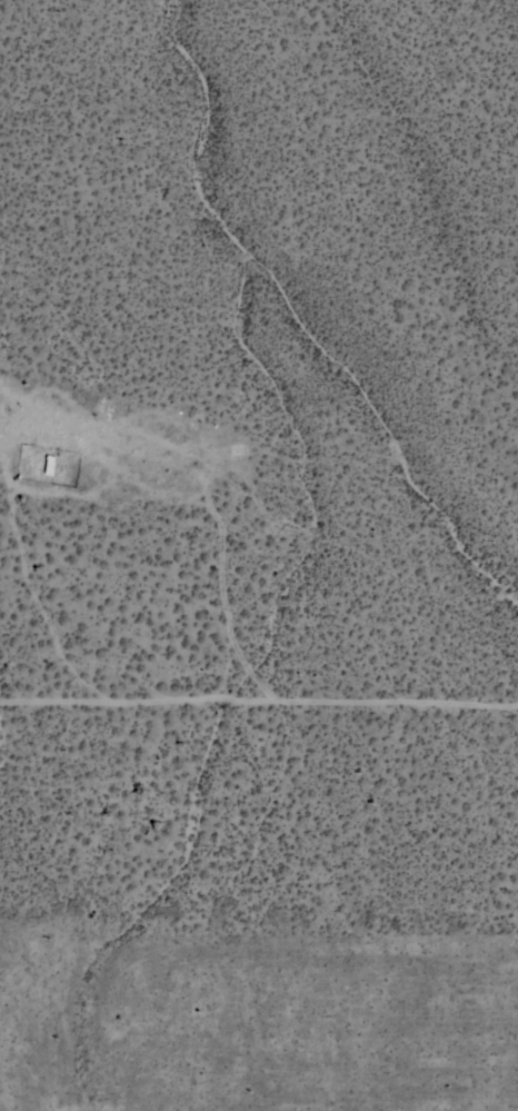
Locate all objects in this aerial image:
road: (21, 417)
road: (259, 697)

